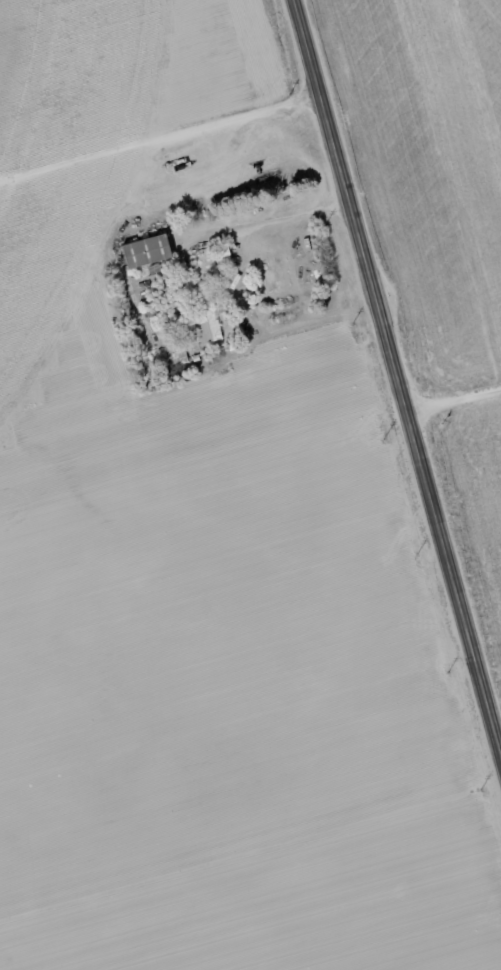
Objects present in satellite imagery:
building: (142, 254)
building: (203, 318)
road: (396, 383)

